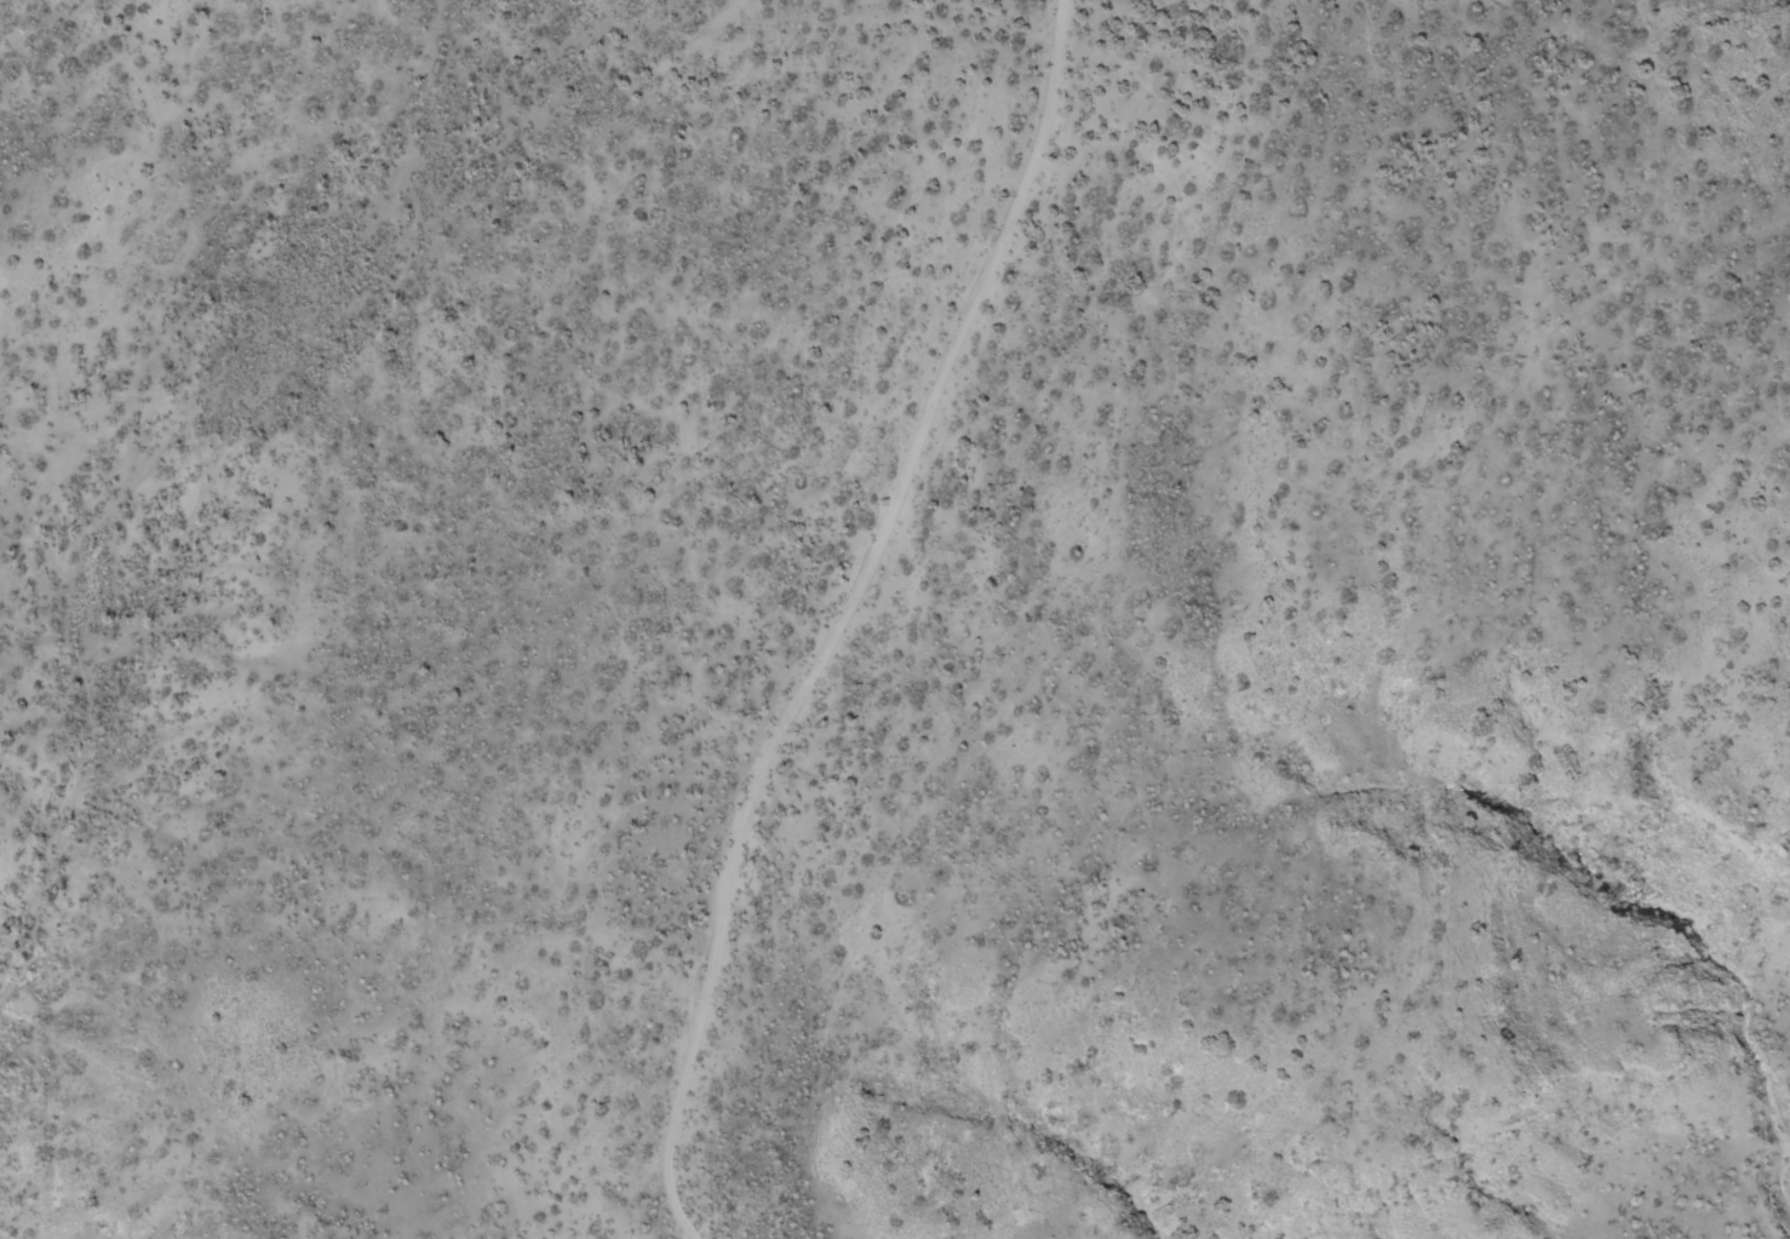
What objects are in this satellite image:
road: (308, 113)

